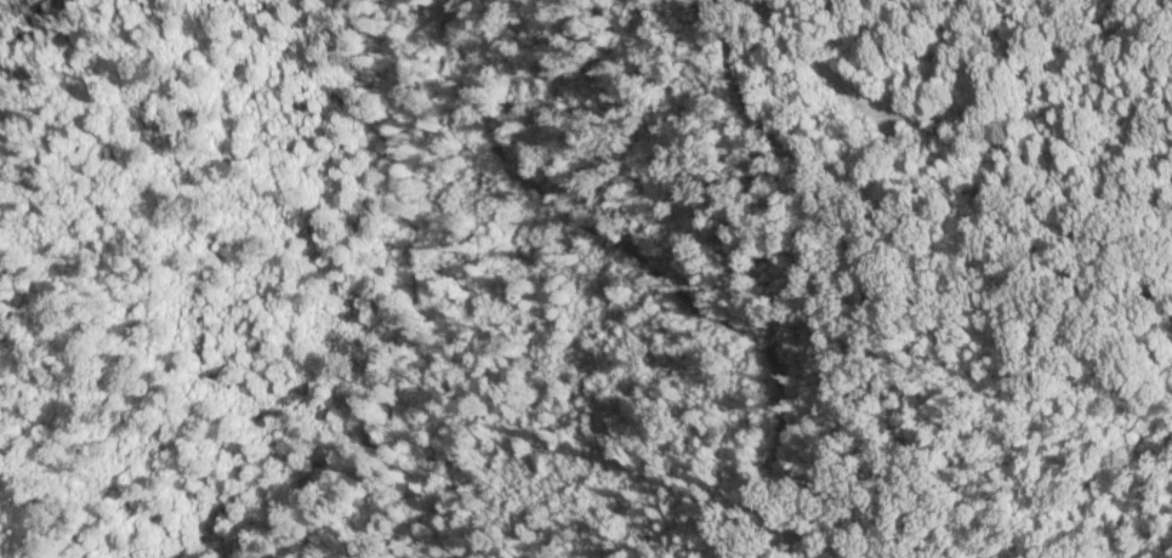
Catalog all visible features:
road: (859, 278)

